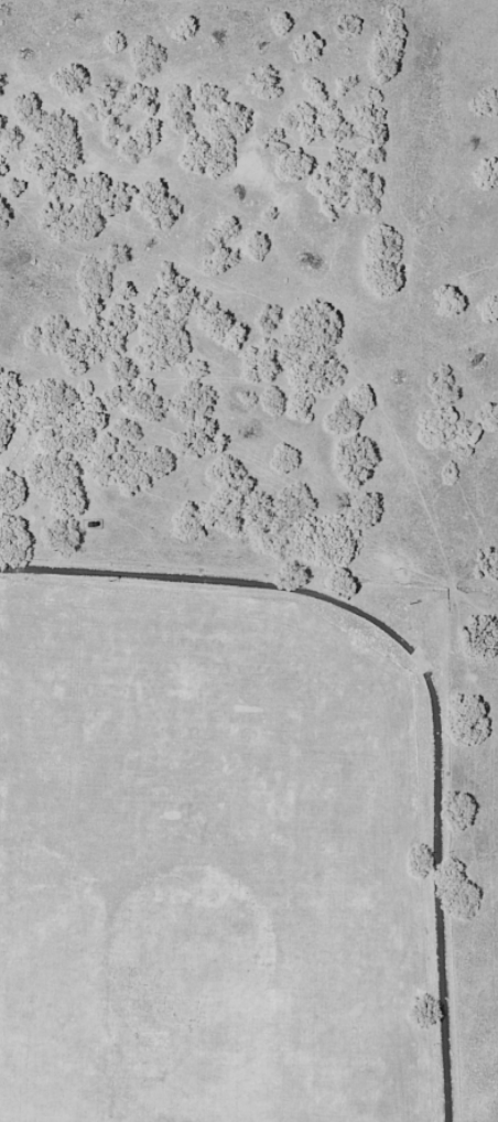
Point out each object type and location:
power tower: (109, 580)
power tower: (410, 603)
road: (426, 667)

